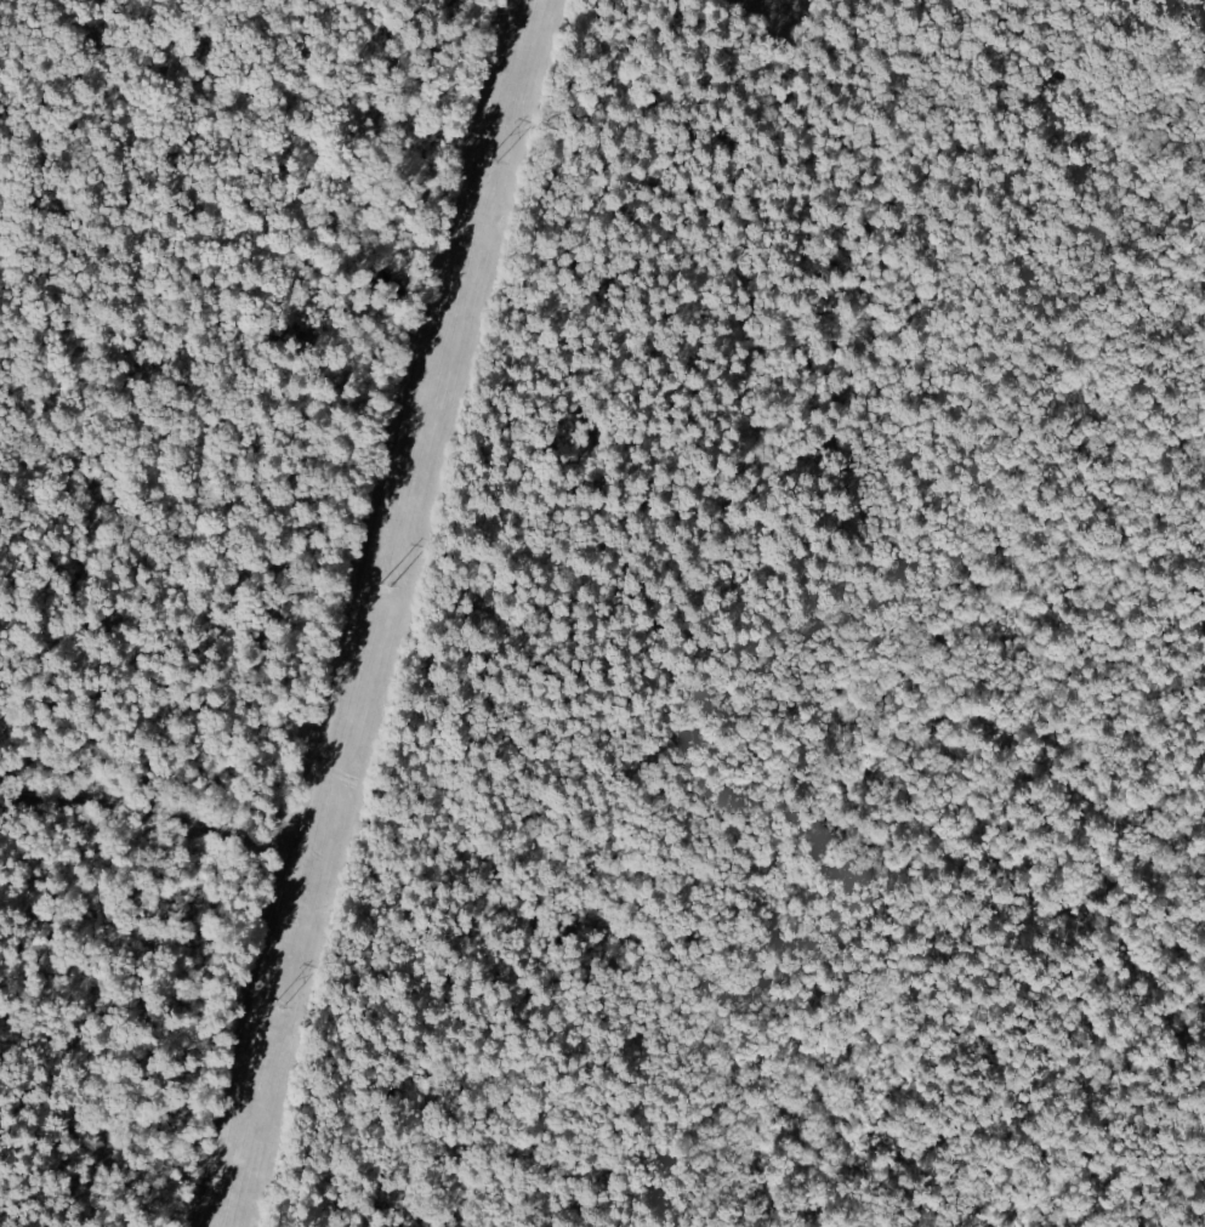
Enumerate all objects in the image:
power tower: (493, 161)
road: (860, 473)
power tower: (386, 589)
road: (348, 613)
road: (146, 810)
power tower: (277, 1006)

